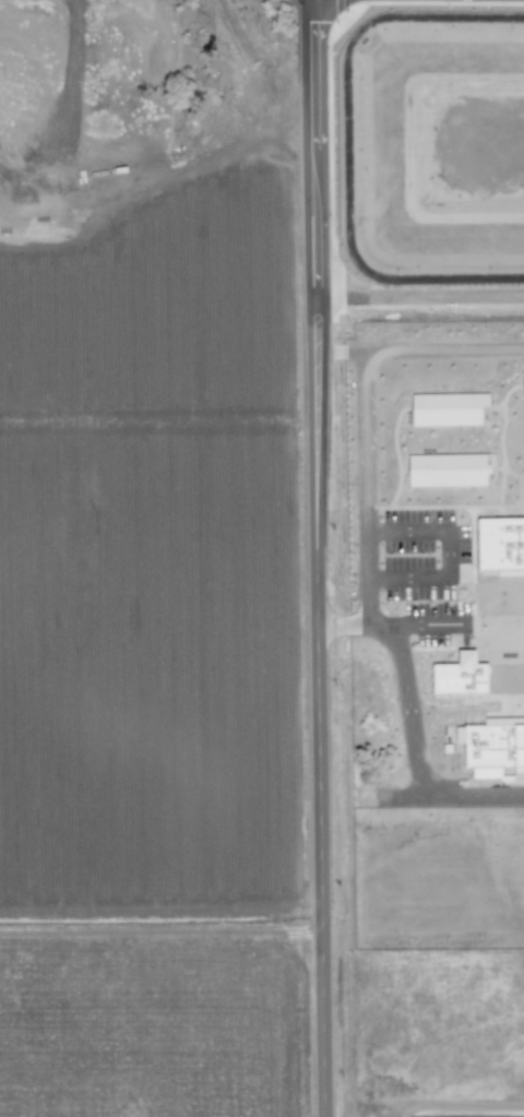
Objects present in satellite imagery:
road: (309, 175)
road: (442, 350)
road: (336, 352)
building: (523, 385)
building: (448, 409)
building: (448, 471)
road: (365, 488)
building: (500, 547)
road: (450, 552)
road: (415, 625)
building: (462, 680)
road: (409, 724)
road: (318, 734)
building: (495, 750)
road: (414, 1109)

